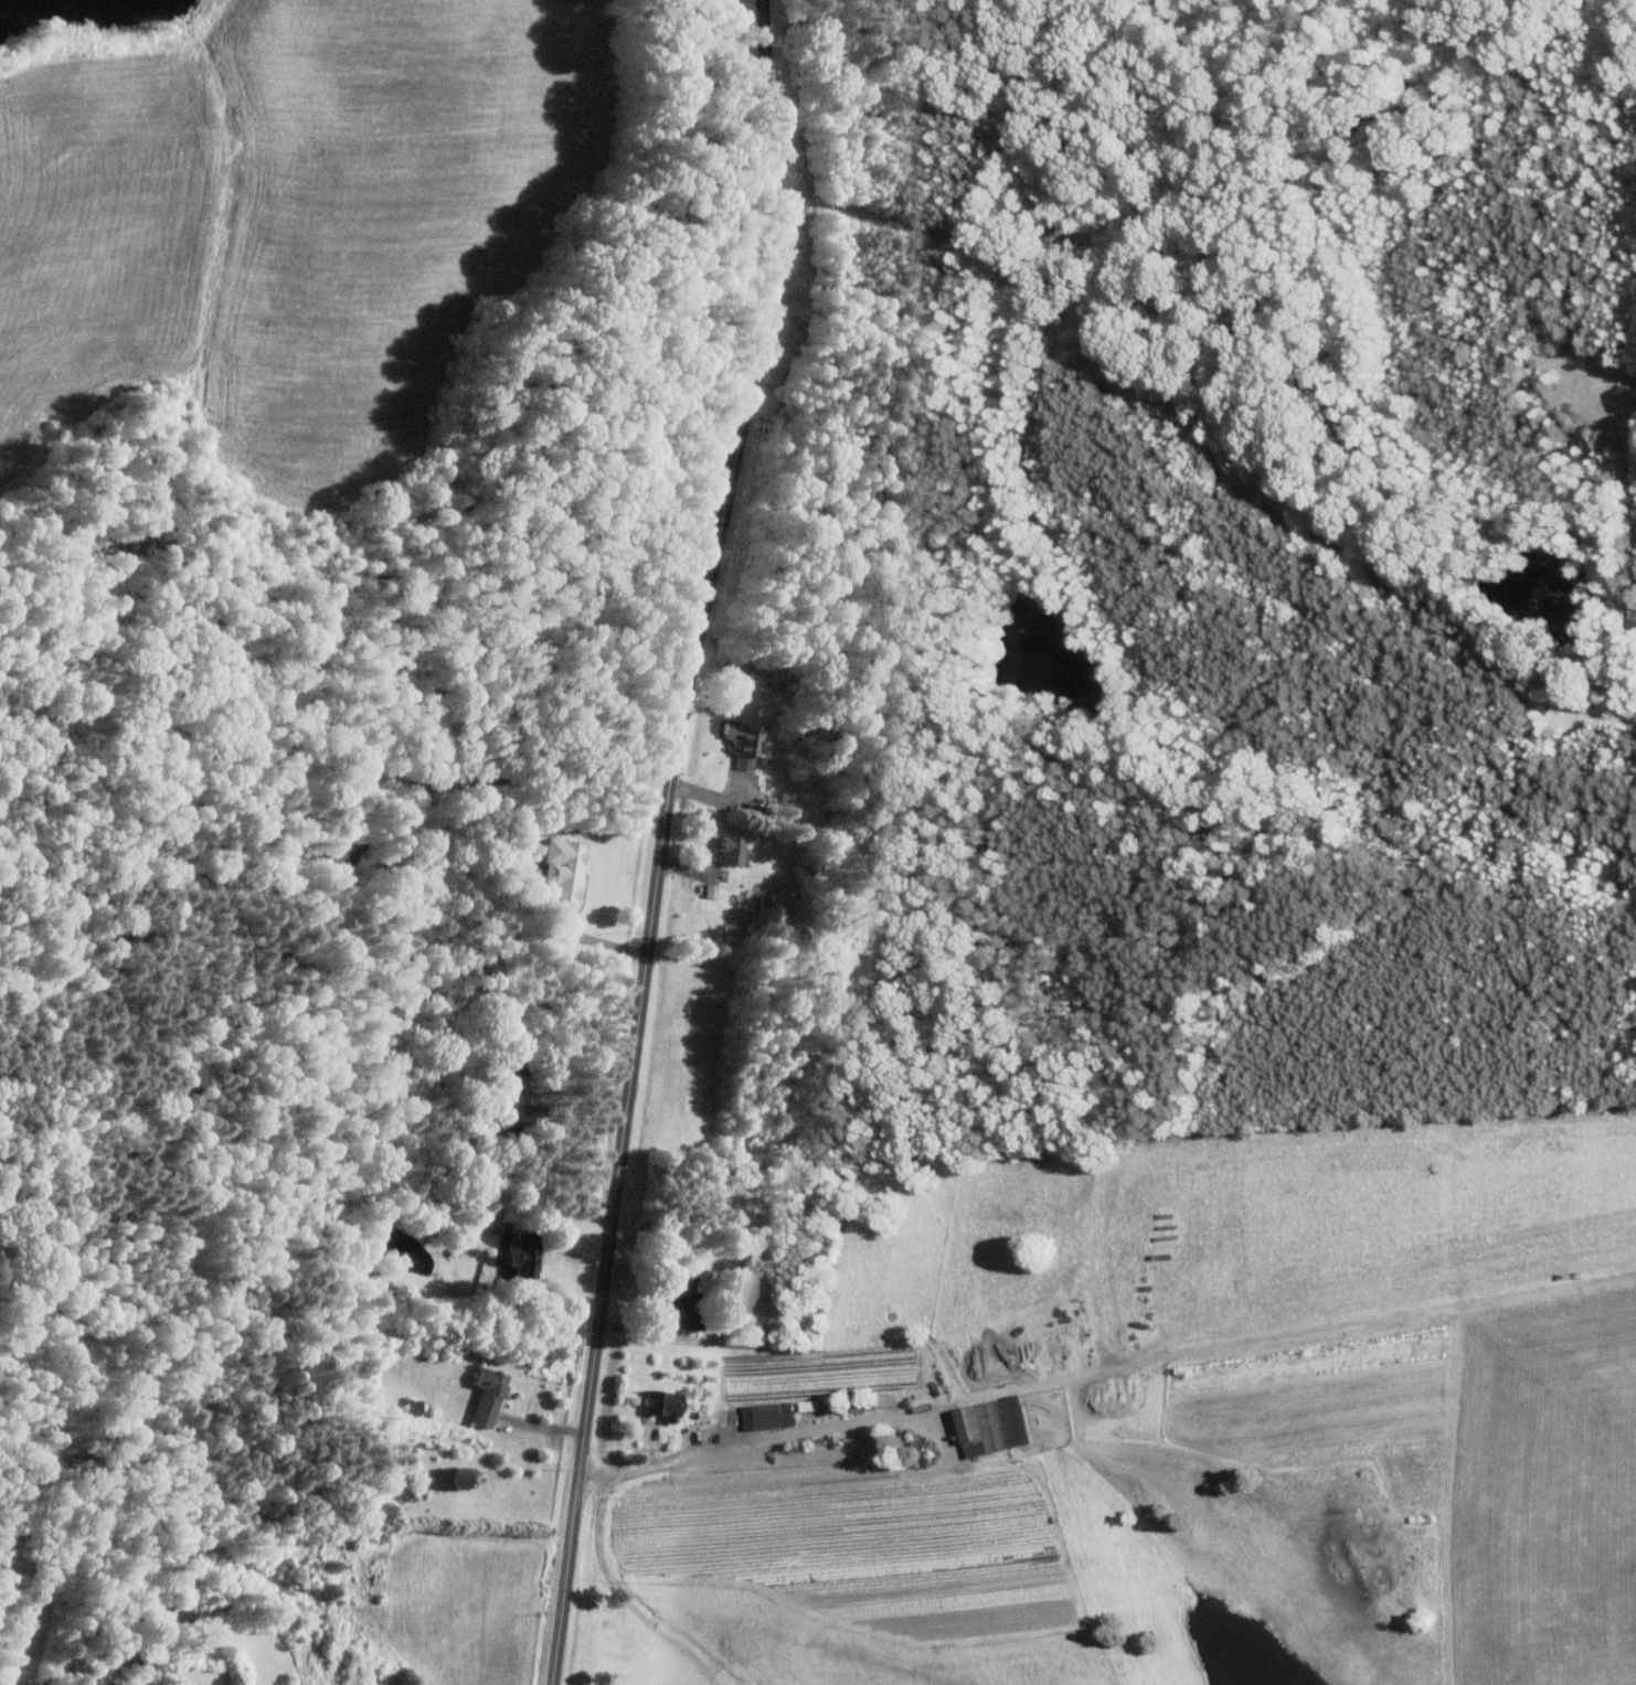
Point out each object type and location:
building: (745, 742)
road: (663, 840)
building: (735, 849)
building: (564, 868)
road: (595, 940)
building: (512, 1076)
road: (509, 1246)
building: (528, 1252)
building: (687, 1301)
road: (655, 1331)
road: (985, 1394)
building: (491, 1395)
building: (667, 1404)
building: (771, 1415)
road: (892, 1420)
road: (544, 1426)
building: (997, 1426)
road: (657, 1463)
road: (626, 1597)

